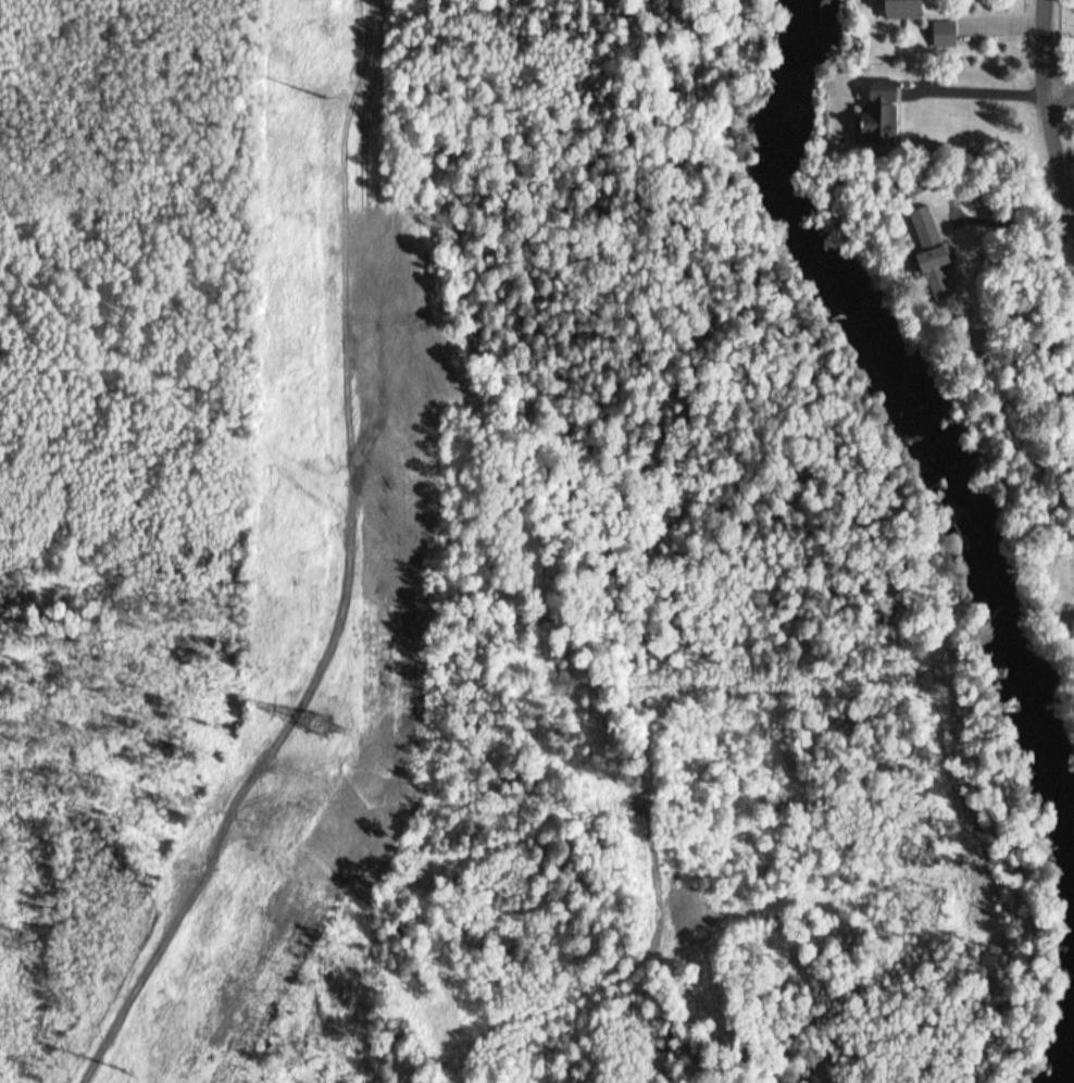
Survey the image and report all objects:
building: (908, 9)
building: (947, 34)
road: (1058, 85)
power tower: (324, 97)
building: (879, 114)
road: (1045, 114)
river: (928, 387)
power tower: (322, 725)
power tower: (122, 1070)

